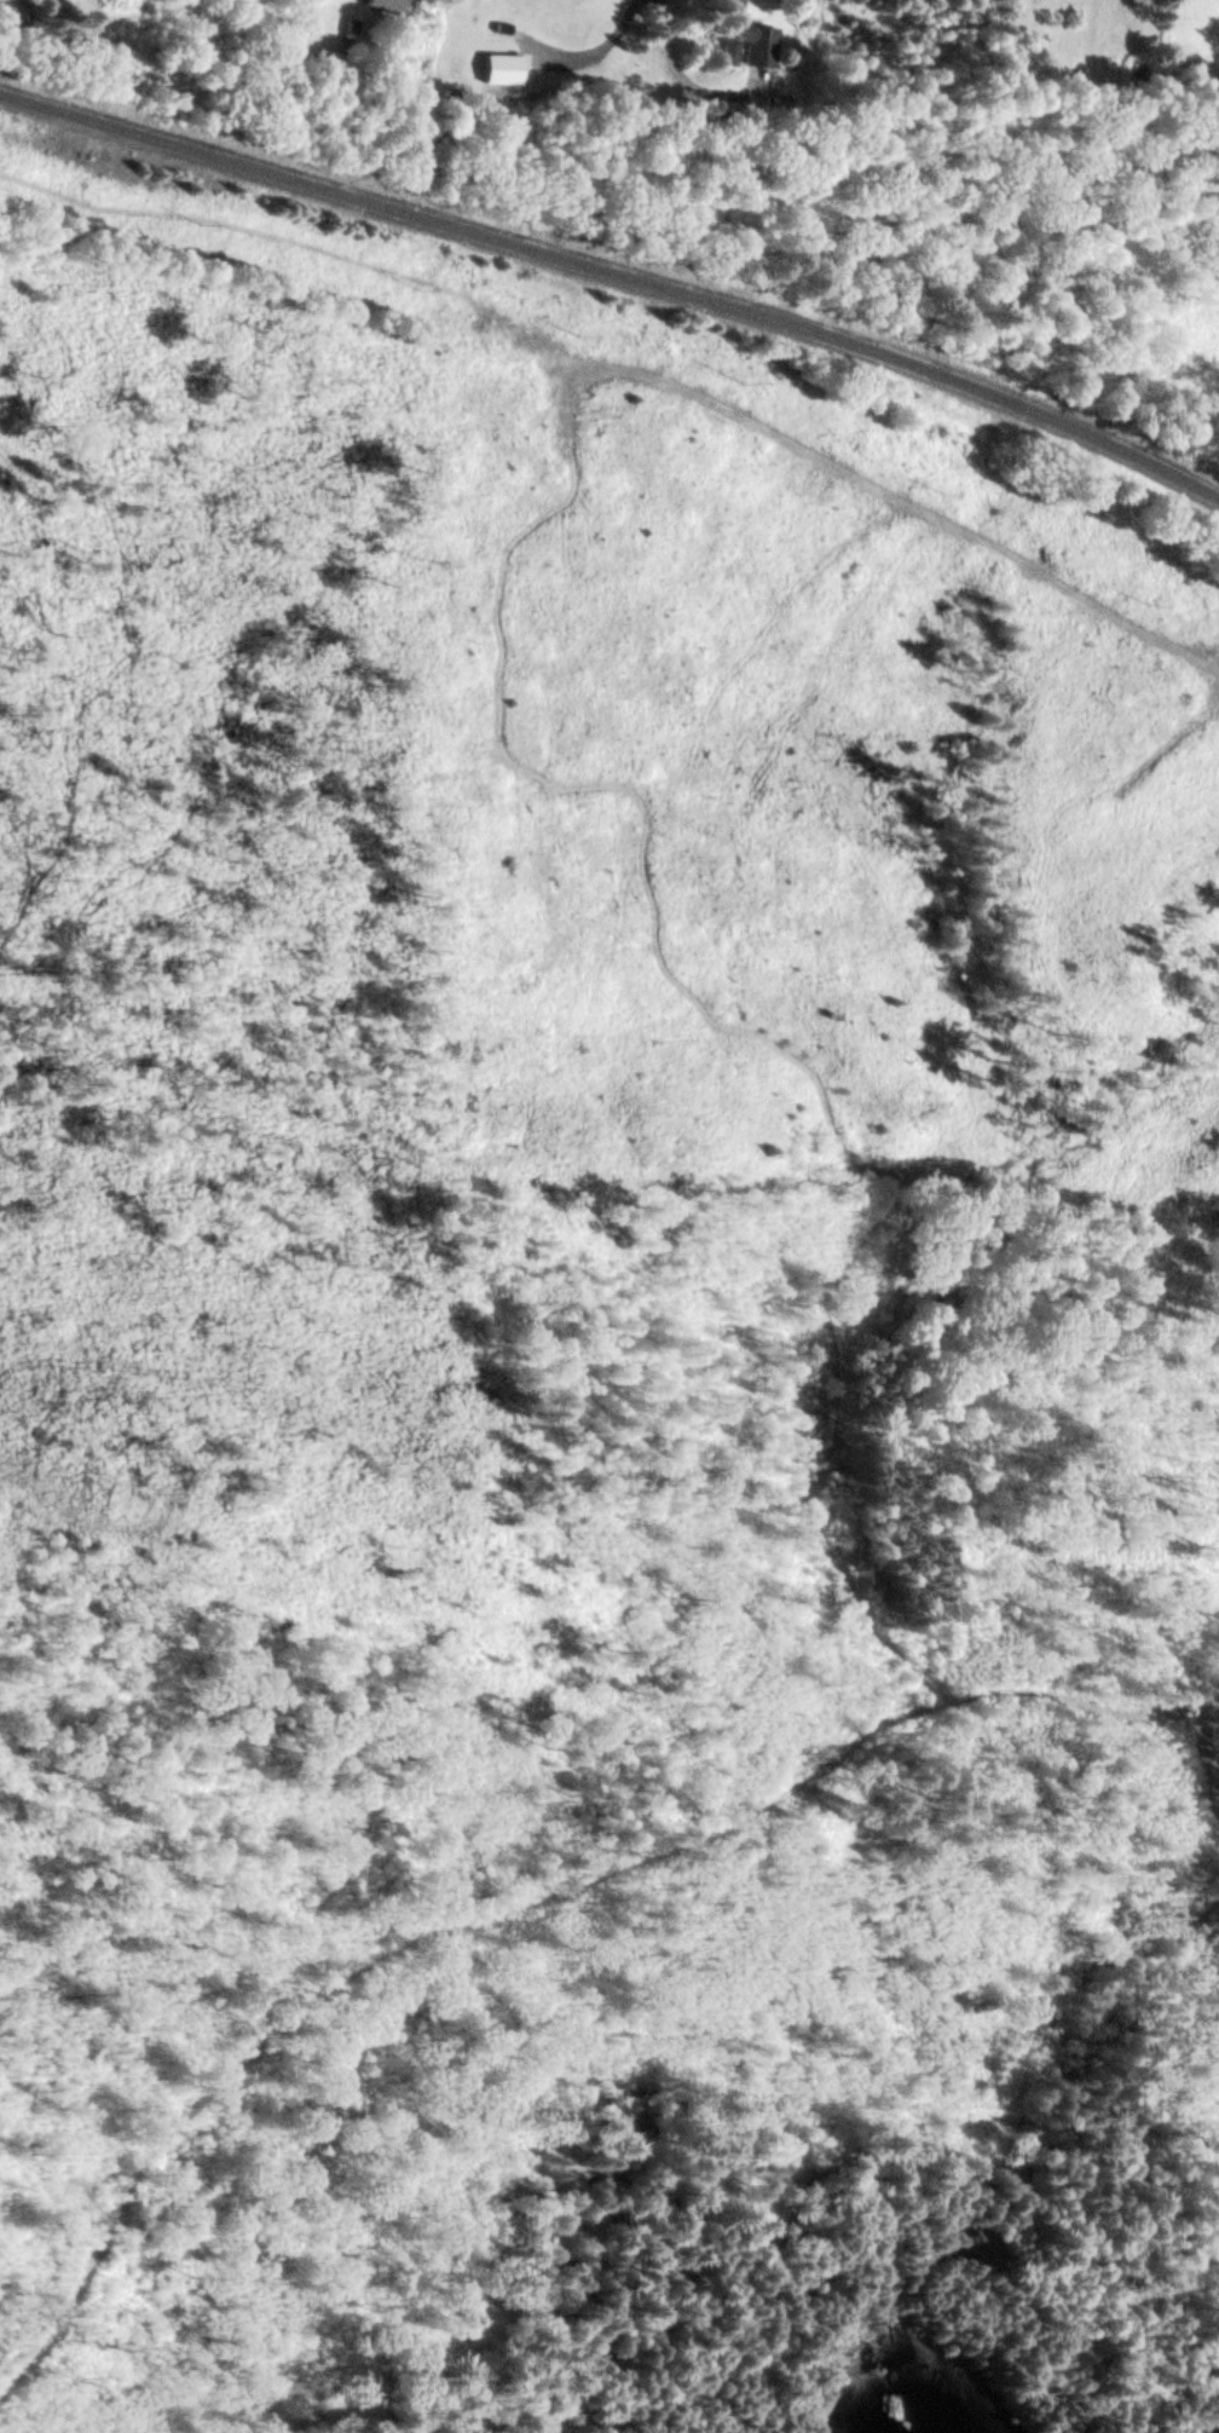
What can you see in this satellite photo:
building: (381, 5)
building: (741, 40)
building: (498, 70)
railway: (514, 243)
railway: (1121, 455)

